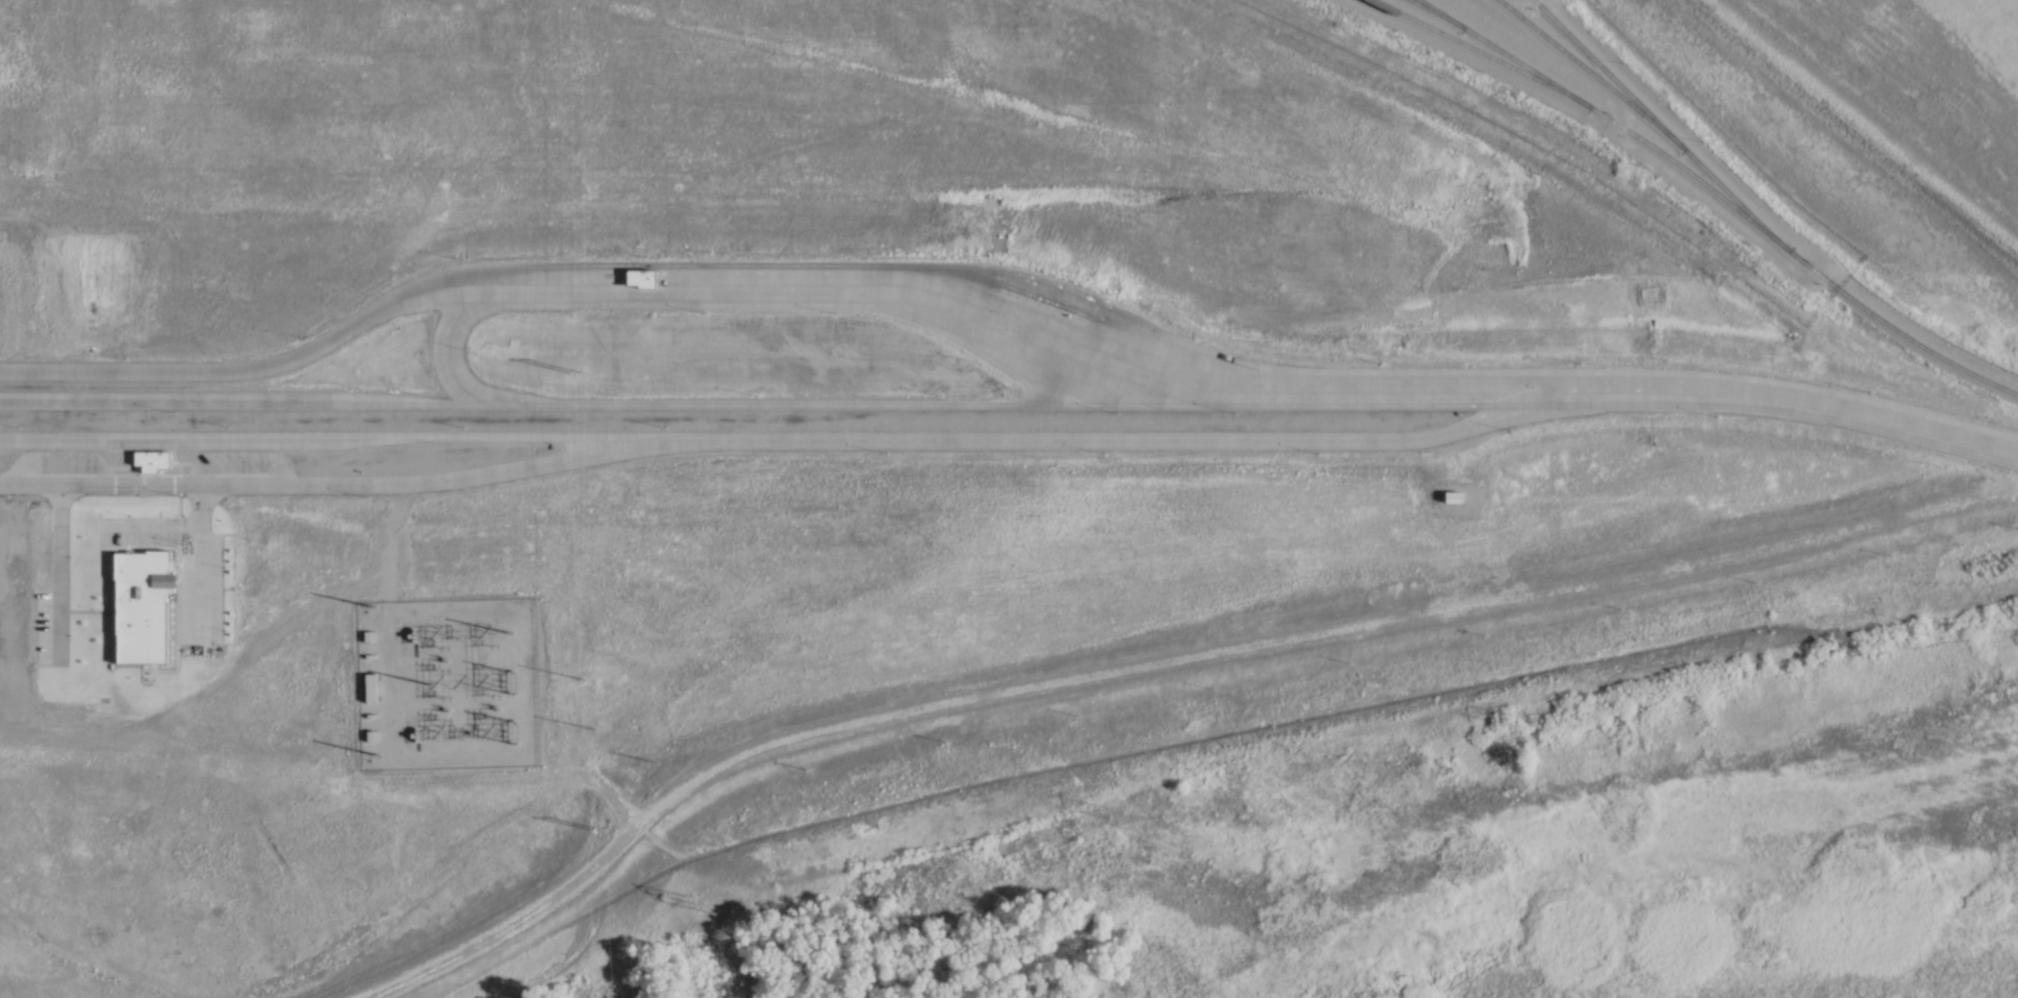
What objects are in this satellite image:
railway: (1429, 7)
railway: (1497, 47)
railway: (1598, 64)
railway: (1627, 100)
railway: (1706, 182)
road: (589, 278)
road: (449, 353)
power tower: (588, 373)
road: (1604, 385)
road: (250, 402)
road: (844, 404)
road: (330, 438)
road: (1150, 439)
road: (332, 483)
road: (199, 557)
road: (54, 567)
power tower: (1941, 630)
power tower: (601, 677)
power tower: (514, 678)
power substation: (460, 683)
power tower: (1535, 719)
power tower: (604, 736)
power tower: (514, 738)
power tower: (1124, 806)
power tower: (608, 825)
power tower: (714, 895)

